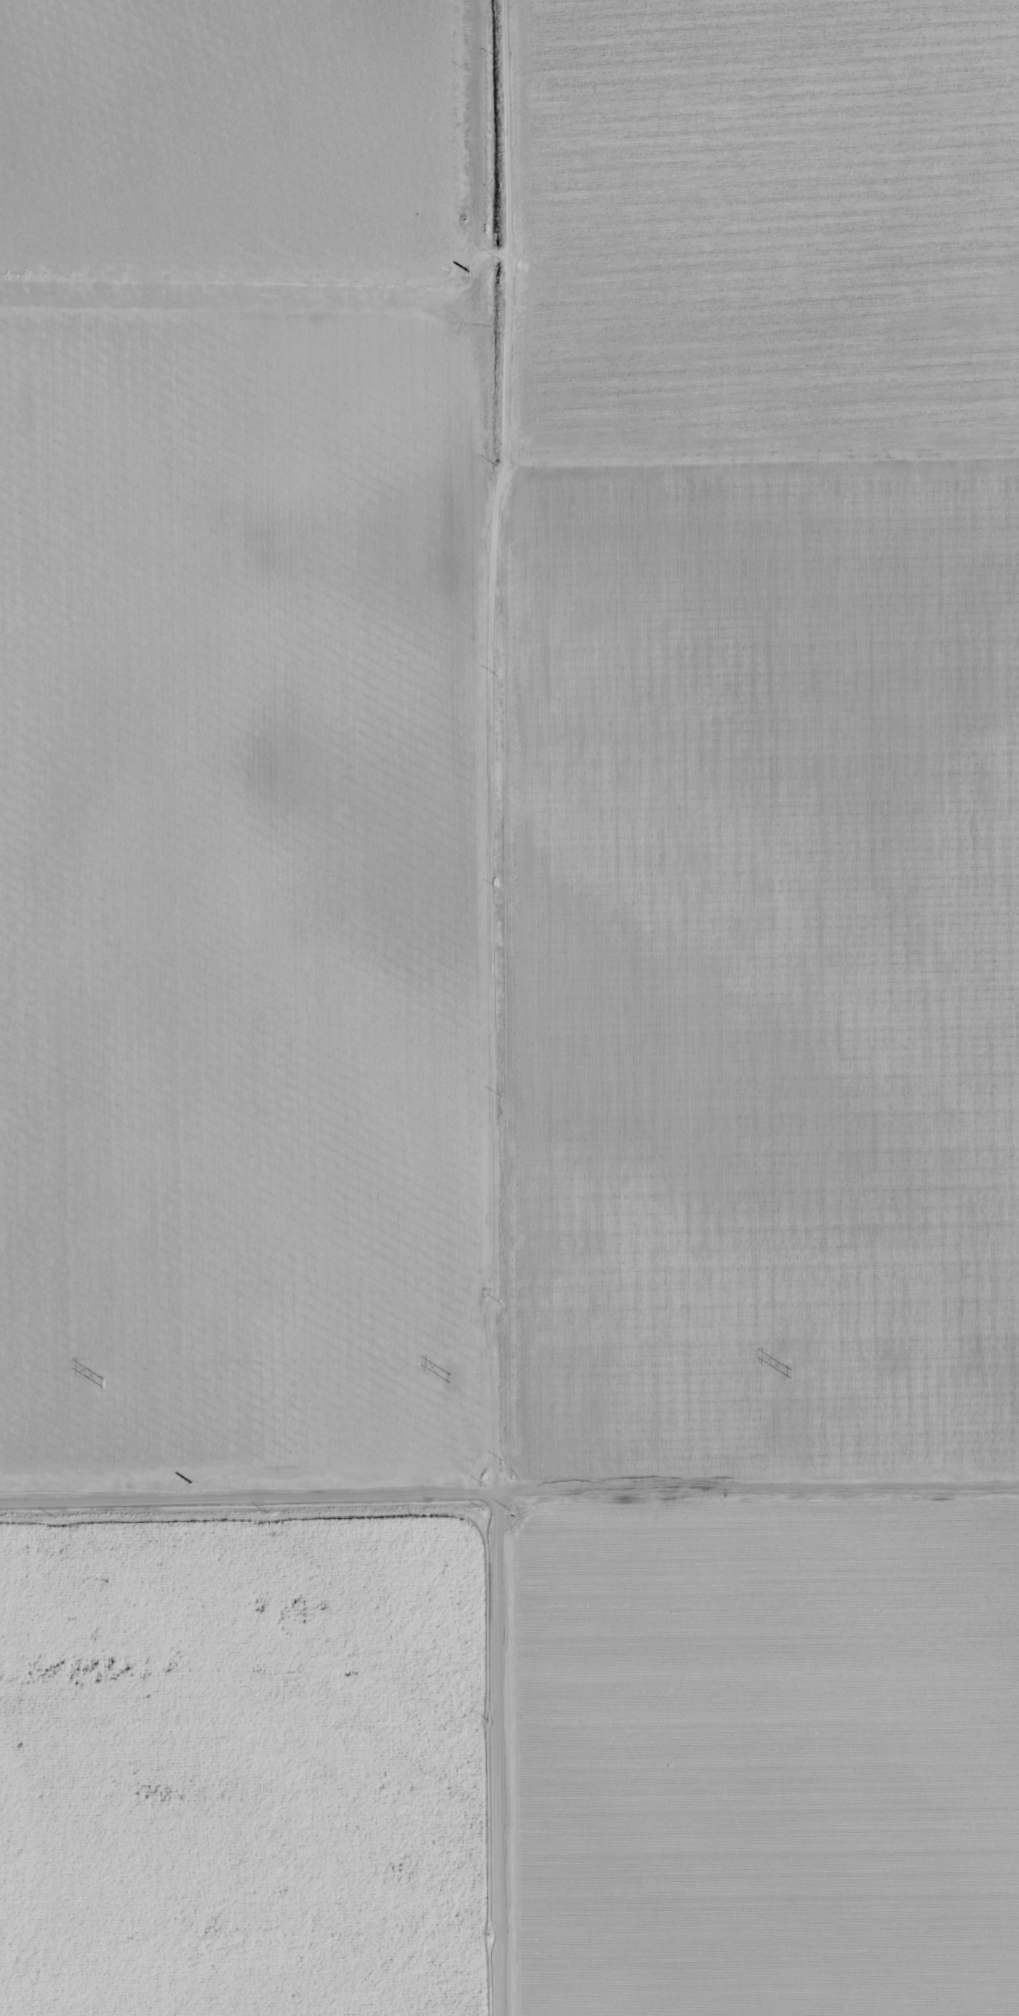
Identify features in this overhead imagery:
road: (497, 1008)
power tower: (788, 1372)
power tower: (449, 1377)
power tower: (103, 1383)
road: (509, 1497)

